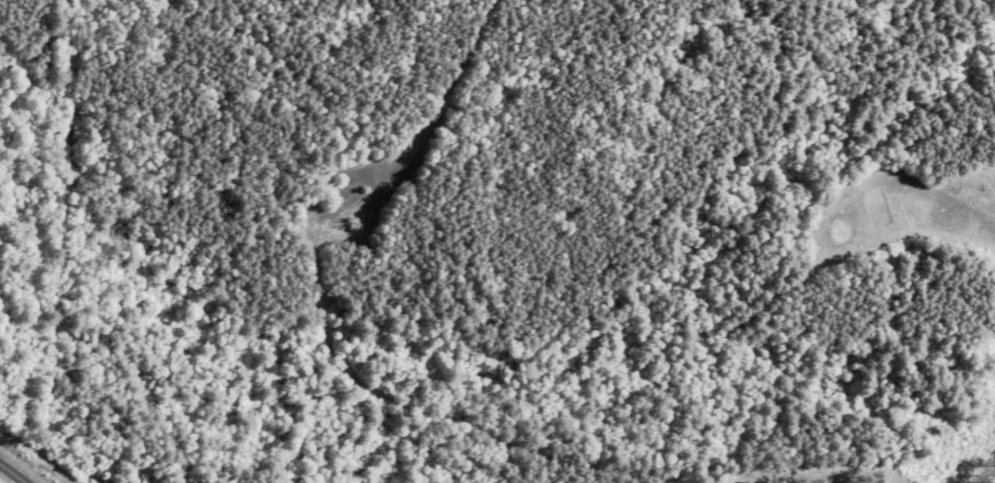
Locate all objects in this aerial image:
road: (863, 285)
road: (10, 475)

